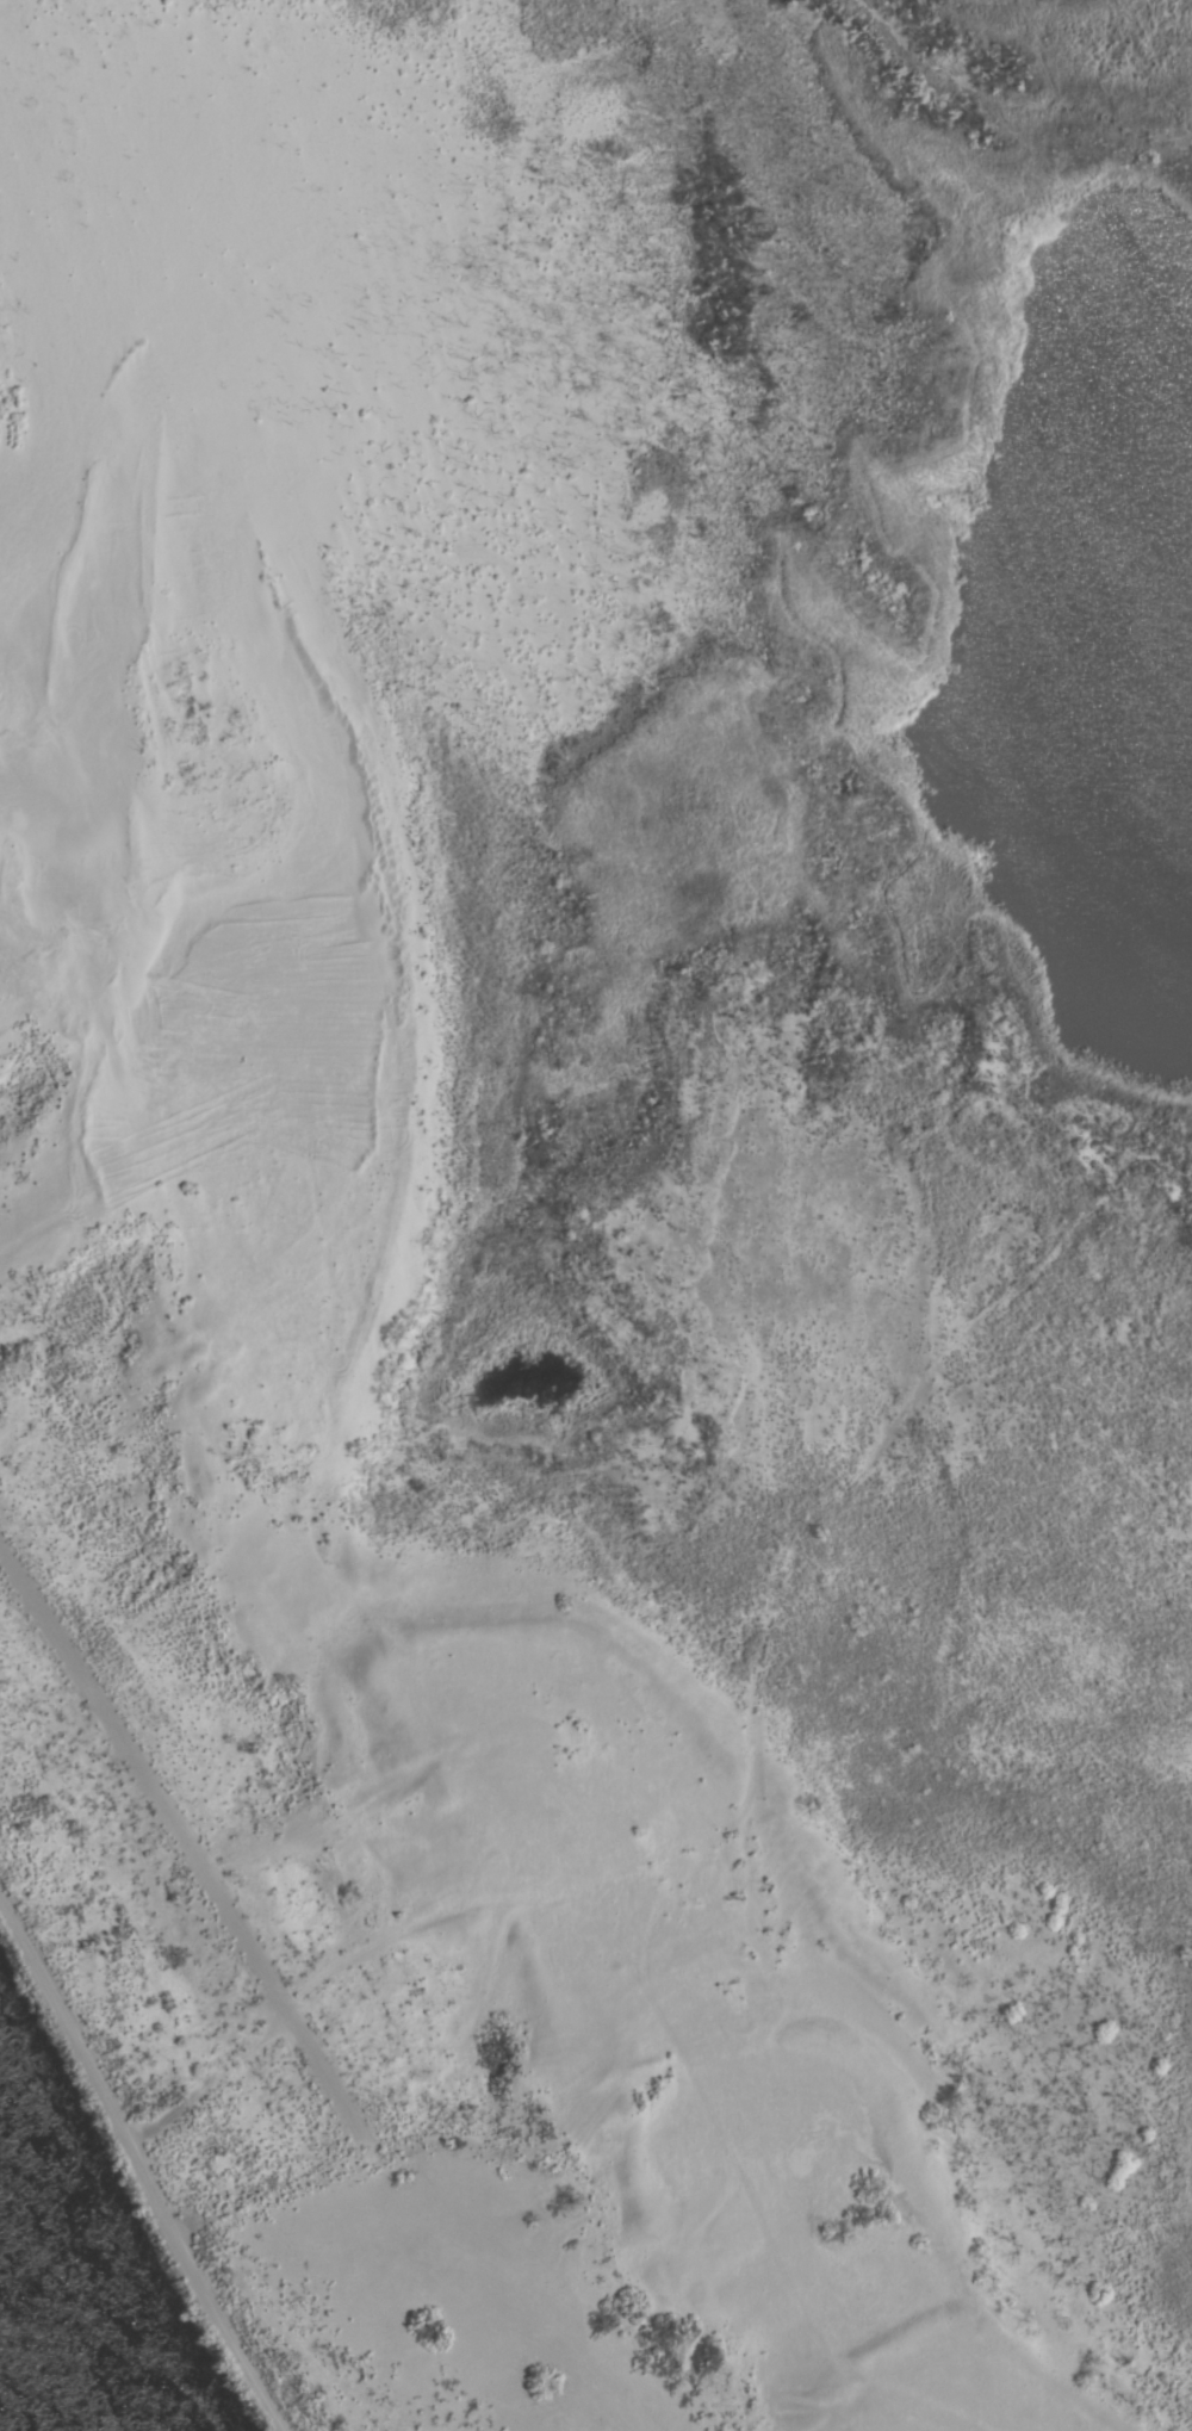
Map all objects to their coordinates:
river: (49, 2343)

